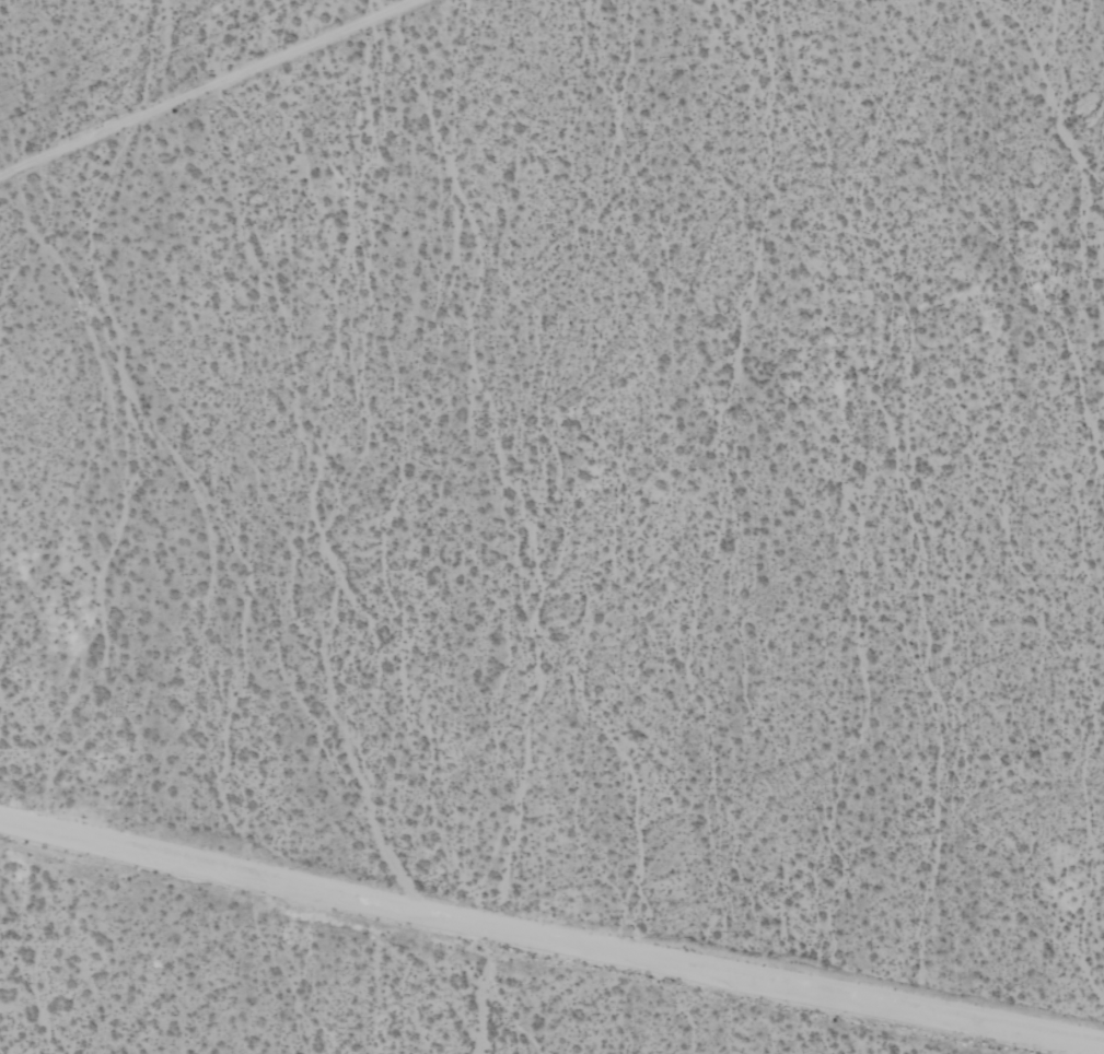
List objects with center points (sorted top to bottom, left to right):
road: (210, 87)
road: (550, 934)

